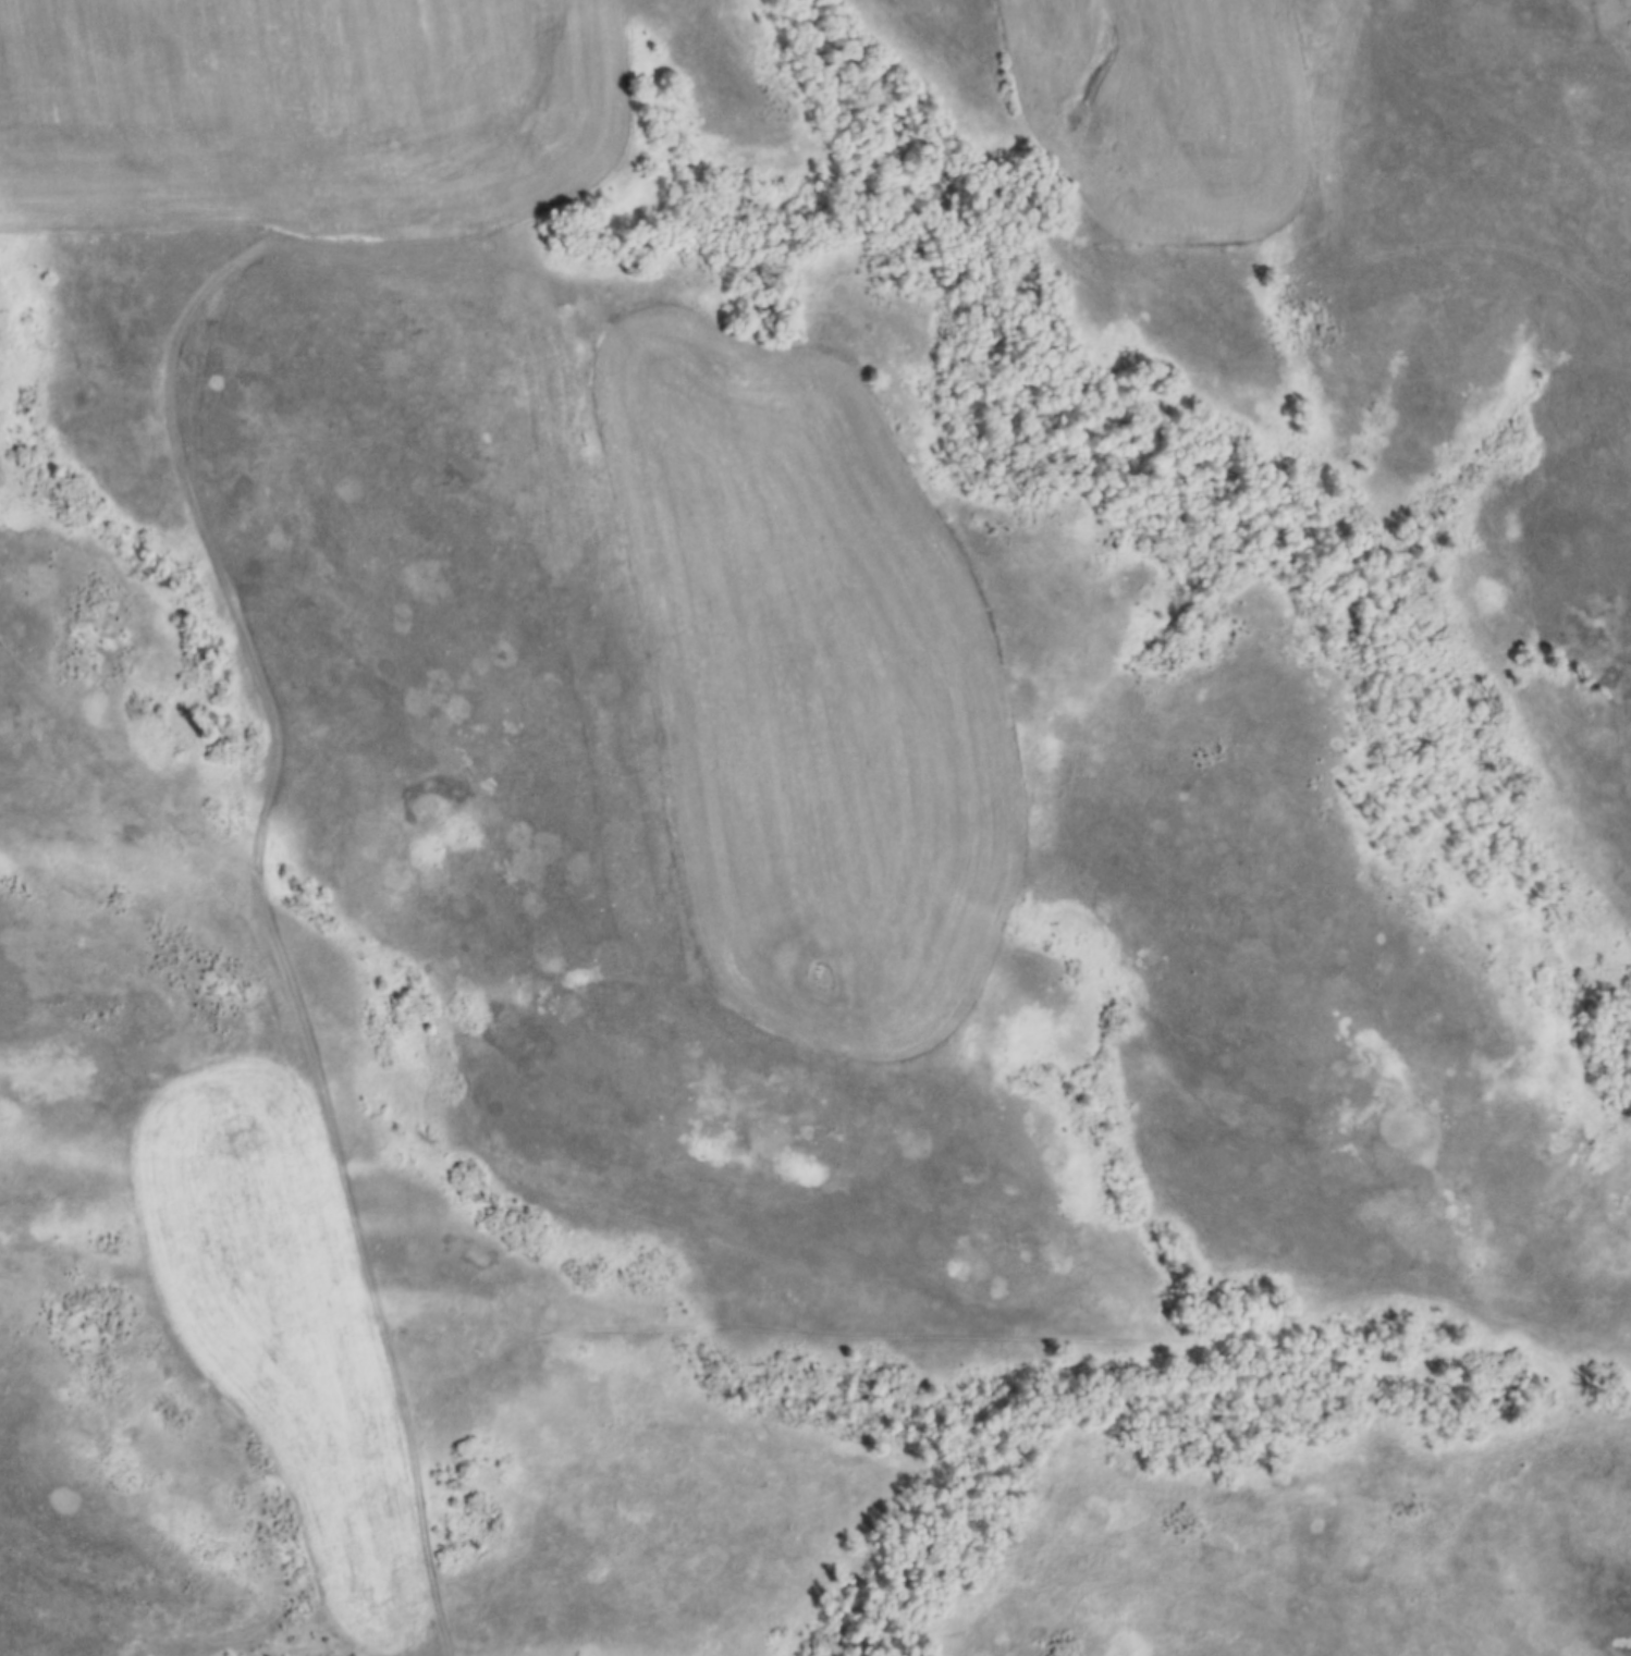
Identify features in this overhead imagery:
road: (402, 228)
road: (268, 911)

